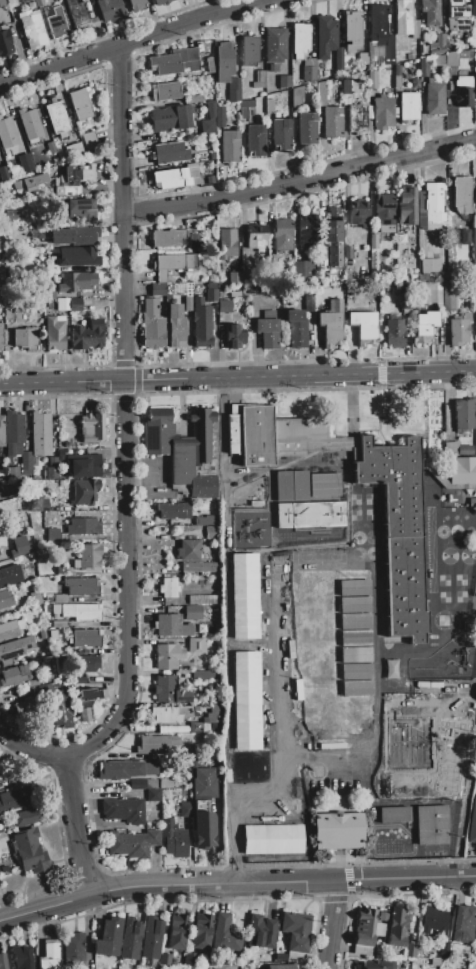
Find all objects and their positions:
building: (2, 2)
building: (38, 2)
building: (161, 2)
building: (11, 3)
building: (30, 4)
building: (136, 5)
building: (473, 7)
building: (456, 8)
building: (110, 10)
building: (430, 11)
building: (80, 15)
building: (403, 17)
building: (56, 23)
building: (33, 28)
building: (415, 29)
building: (352, 30)
building: (381, 32)
building: (325, 36)
building: (300, 39)
building: (5, 41)
building: (275, 44)
building: (437, 45)
road: (125, 46)
building: (249, 50)
building: (373, 50)
building: (473, 52)
building: (463, 53)
building: (185, 54)
building: (338, 58)
building: (451, 58)
building: (438, 59)
building: (224, 61)
building: (164, 64)
building: (190, 65)
building: (210, 66)
building: (422, 67)
building: (273, 68)
building: (309, 69)
building: (396, 70)
building: (372, 79)
building: (258, 80)
building: (285, 81)
building: (396, 81)
building: (346, 84)
building: (353, 84)
building: (475, 86)
building: (233, 89)
building: (164, 91)
building: (464, 91)
building: (321, 93)
building: (297, 96)
building: (194, 98)
building: (434, 98)
building: (79, 103)
building: (269, 106)
building: (408, 106)
building: (245, 107)
building: (210, 109)
building: (369, 111)
building: (382, 112)
building: (56, 117)
building: (219, 117)
building: (357, 117)
building: (170, 118)
building: (332, 122)
building: (29, 123)
building: (207, 126)
building: (306, 128)
building: (7, 132)
building: (281, 133)
building: (89, 140)
building: (255, 140)
building: (230, 146)
building: (50, 147)
building: (73, 150)
building: (0, 152)
building: (169, 152)
building: (211, 155)
building: (25, 162)
building: (190, 171)
building: (4, 173)
road: (301, 175)
building: (75, 178)
building: (170, 178)
building: (210, 179)
building: (29, 182)
building: (461, 194)
building: (419, 198)
building: (434, 201)
building: (406, 206)
building: (80, 209)
building: (357, 212)
building: (383, 212)
building: (10, 214)
building: (474, 220)
building: (307, 222)
building: (282, 234)
building: (74, 235)
building: (454, 235)
building: (474, 235)
building: (464, 236)
building: (166, 237)
building: (256, 237)
building: (333, 238)
building: (193, 240)
building: (372, 240)
building: (226, 243)
building: (474, 252)
building: (77, 256)
building: (322, 256)
building: (270, 260)
building: (174, 261)
building: (429, 265)
building: (302, 268)
building: (450, 274)
building: (234, 278)
building: (75, 281)
building: (472, 285)
building: (258, 286)
building: (157, 288)
building: (50, 294)
building: (210, 294)
building: (448, 295)
building: (308, 300)
building: (475, 302)
building: (187, 303)
building: (62, 304)
building: (75, 304)
building: (224, 305)
building: (404, 305)
building: (201, 322)
building: (331, 324)
building: (152, 325)
building: (425, 325)
building: (175, 326)
building: (363, 326)
building: (296, 328)
building: (267, 329)
building: (458, 329)
building: (54, 333)
building: (394, 333)
building: (87, 335)
building: (233, 336)
building: (1, 337)
building: (25, 338)
road: (237, 376)
road: (380, 381)
building: (475, 401)
road: (349, 402)
road: (340, 406)
road: (305, 414)
road: (125, 415)
building: (464, 415)
building: (92, 427)
road: (362, 429)
building: (1, 431)
building: (40, 433)
building: (12, 434)
building: (276, 435)
road: (222, 448)
building: (464, 449)
building: (184, 451)
building: (59, 454)
building: (52, 461)
building: (83, 466)
building: (462, 470)
building: (13, 472)
building: (51, 472)
building: (441, 476)
building: (303, 478)
building: (392, 481)
building: (323, 484)
building: (85, 492)
building: (37, 503)
building: (173, 510)
building: (308, 514)
building: (205, 520)
building: (83, 526)
building: (10, 527)
building: (212, 532)
building: (53, 535)
building: (20, 546)
building: (188, 550)
building: (87, 556)
building: (200, 567)
building: (9, 575)
building: (81, 586)
building: (168, 587)
building: (404, 588)
parking lot: (473, 592)
building: (243, 594)
building: (49, 596)
building: (35, 597)
building: (59, 597)
building: (5, 598)
building: (202, 599)
building: (82, 611)
building: (193, 612)
building: (59, 624)
building: (171, 625)
building: (11, 629)
building: (52, 634)
building: (86, 638)
building: (196, 645)
building: (15, 649)
building: (44, 650)
building: (167, 655)
building: (86, 664)
building: (390, 668)
building: (206, 674)
building: (13, 675)
building: (79, 680)
building: (32, 683)
road: (463, 686)
building: (169, 690)
building: (22, 691)
road: (475, 691)
building: (245, 699)
building: (217, 700)
building: (89, 702)
building: (57, 704)
building: (453, 707)
building: (26, 708)
building: (173, 714)
building: (210, 721)
park: (344, 730)
building: (154, 744)
road: (31, 751)
building: (450, 754)
building: (126, 769)
road: (466, 773)
building: (142, 783)
building: (165, 783)
building: (409, 786)
building: (154, 795)
building: (15, 799)
building: (203, 806)
building: (185, 809)
building: (124, 810)
building: (394, 814)
building: (25, 817)
building: (431, 824)
building: (472, 824)
road: (76, 825)
park: (268, 827)
building: (338, 830)
building: (271, 838)
building: (174, 839)
building: (132, 843)
building: (29, 851)
road: (457, 865)
road: (280, 883)
road: (43, 908)
building: (382, 916)
building: (434, 920)
building: (463, 923)
road: (331, 925)
building: (365, 927)
building: (397, 927)
building: (378, 929)
building: (296, 930)
building: (177, 931)
building: (201, 931)
building: (260, 931)
building: (224, 935)
building: (475, 935)
building: (108, 937)
building: (151, 937)
building: (130, 939)
building: (444, 948)
building: (73, 949)
building: (410, 950)
building: (49, 955)
building: (22, 957)
building: (280, 957)
building: (190, 958)
building: (165, 959)
building: (2, 961)
building: (434, 961)
building: (375, 965)
building: (282, 966)

